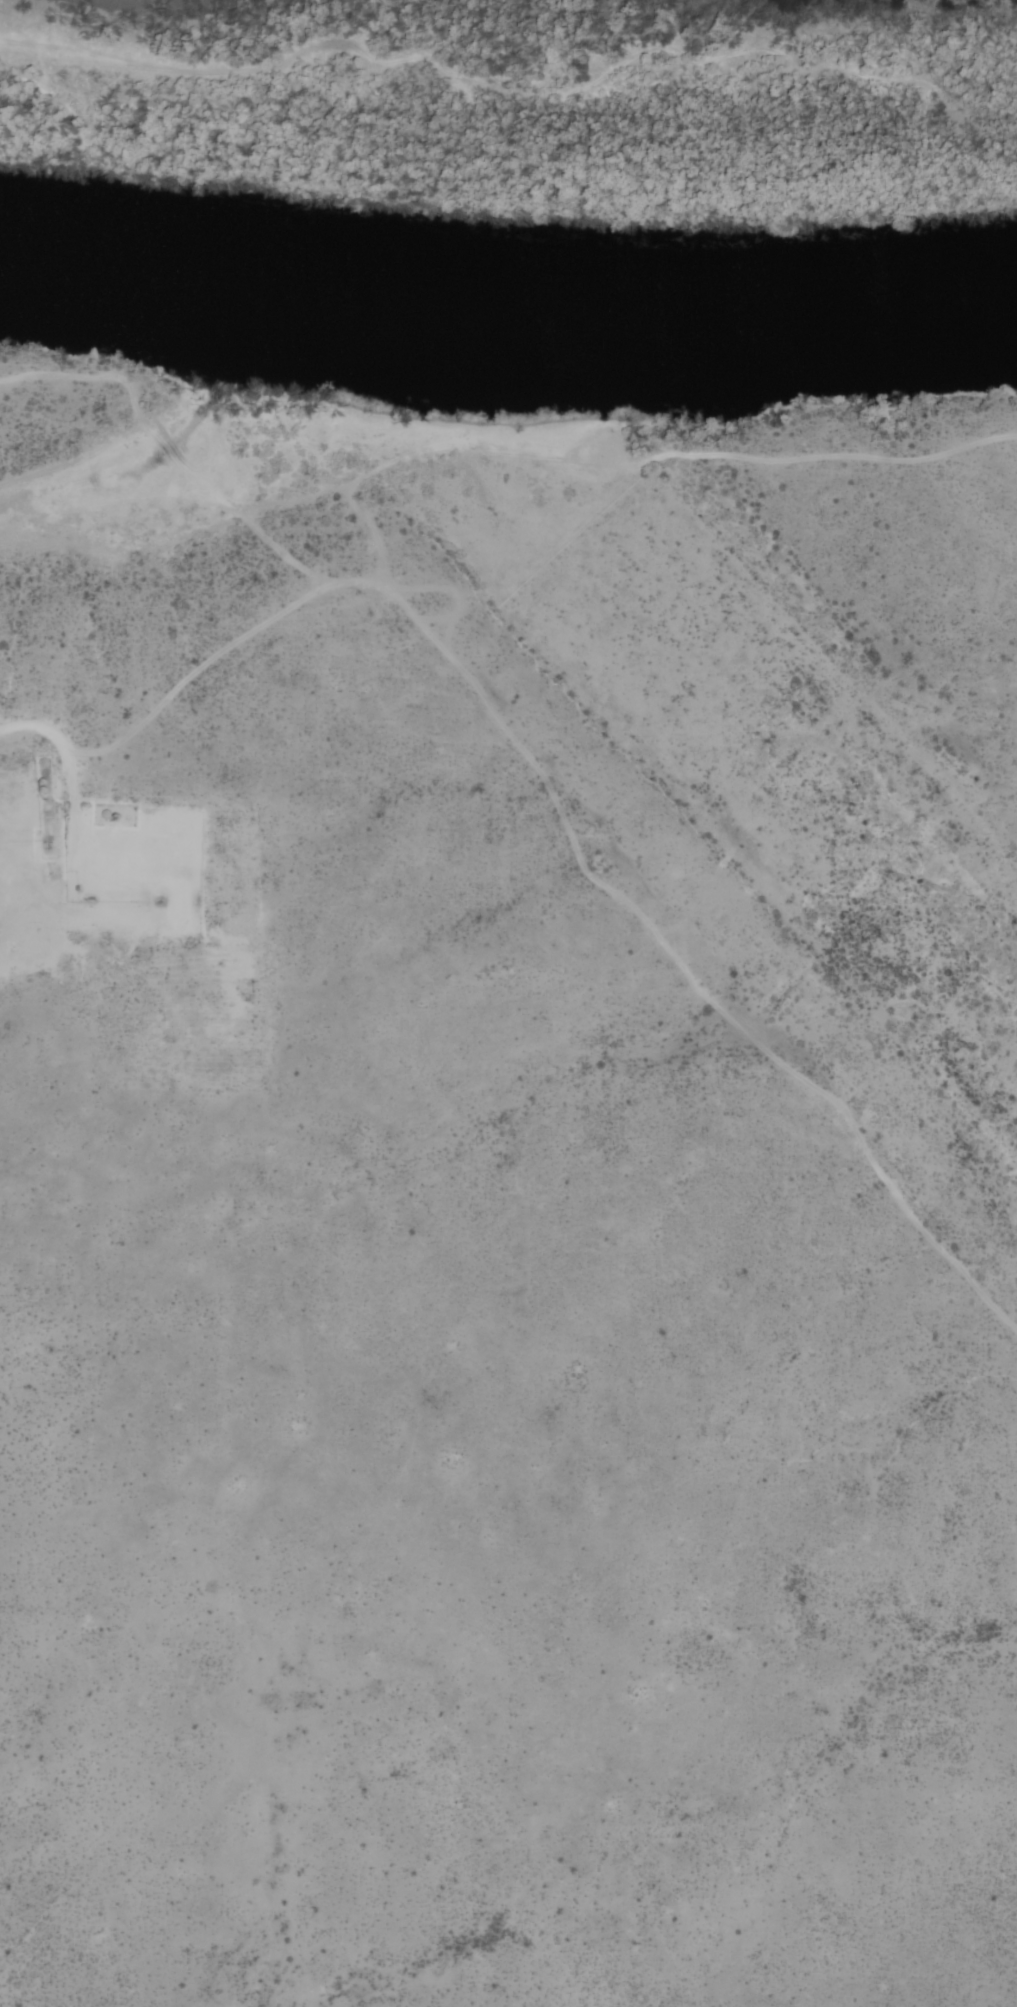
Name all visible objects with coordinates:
river: (507, 298)
road: (88, 375)
road: (39, 750)
road: (128, 917)

